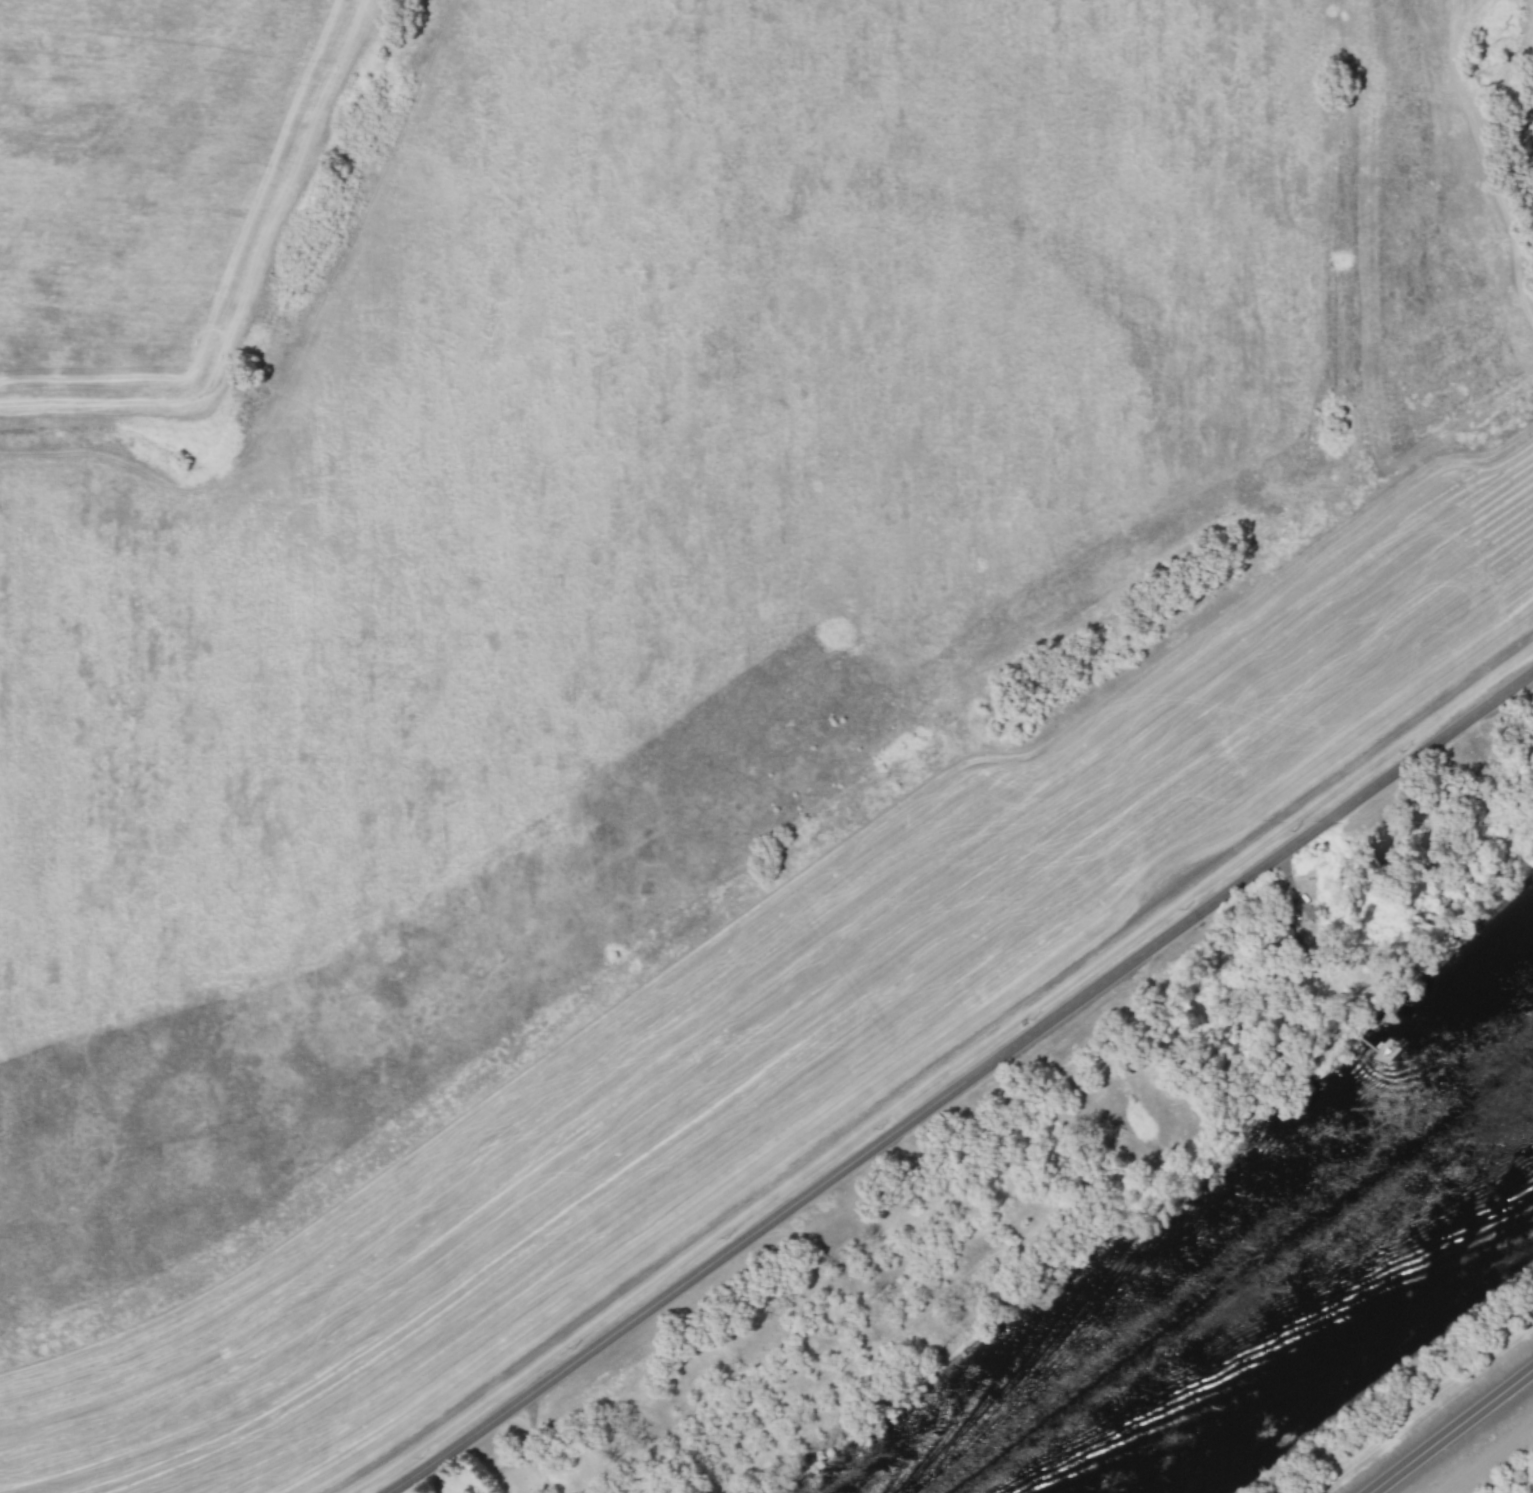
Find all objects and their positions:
road: (963, 1080)
river: (1281, 1286)
road: (1452, 1432)
crop: (1489, 1455)

